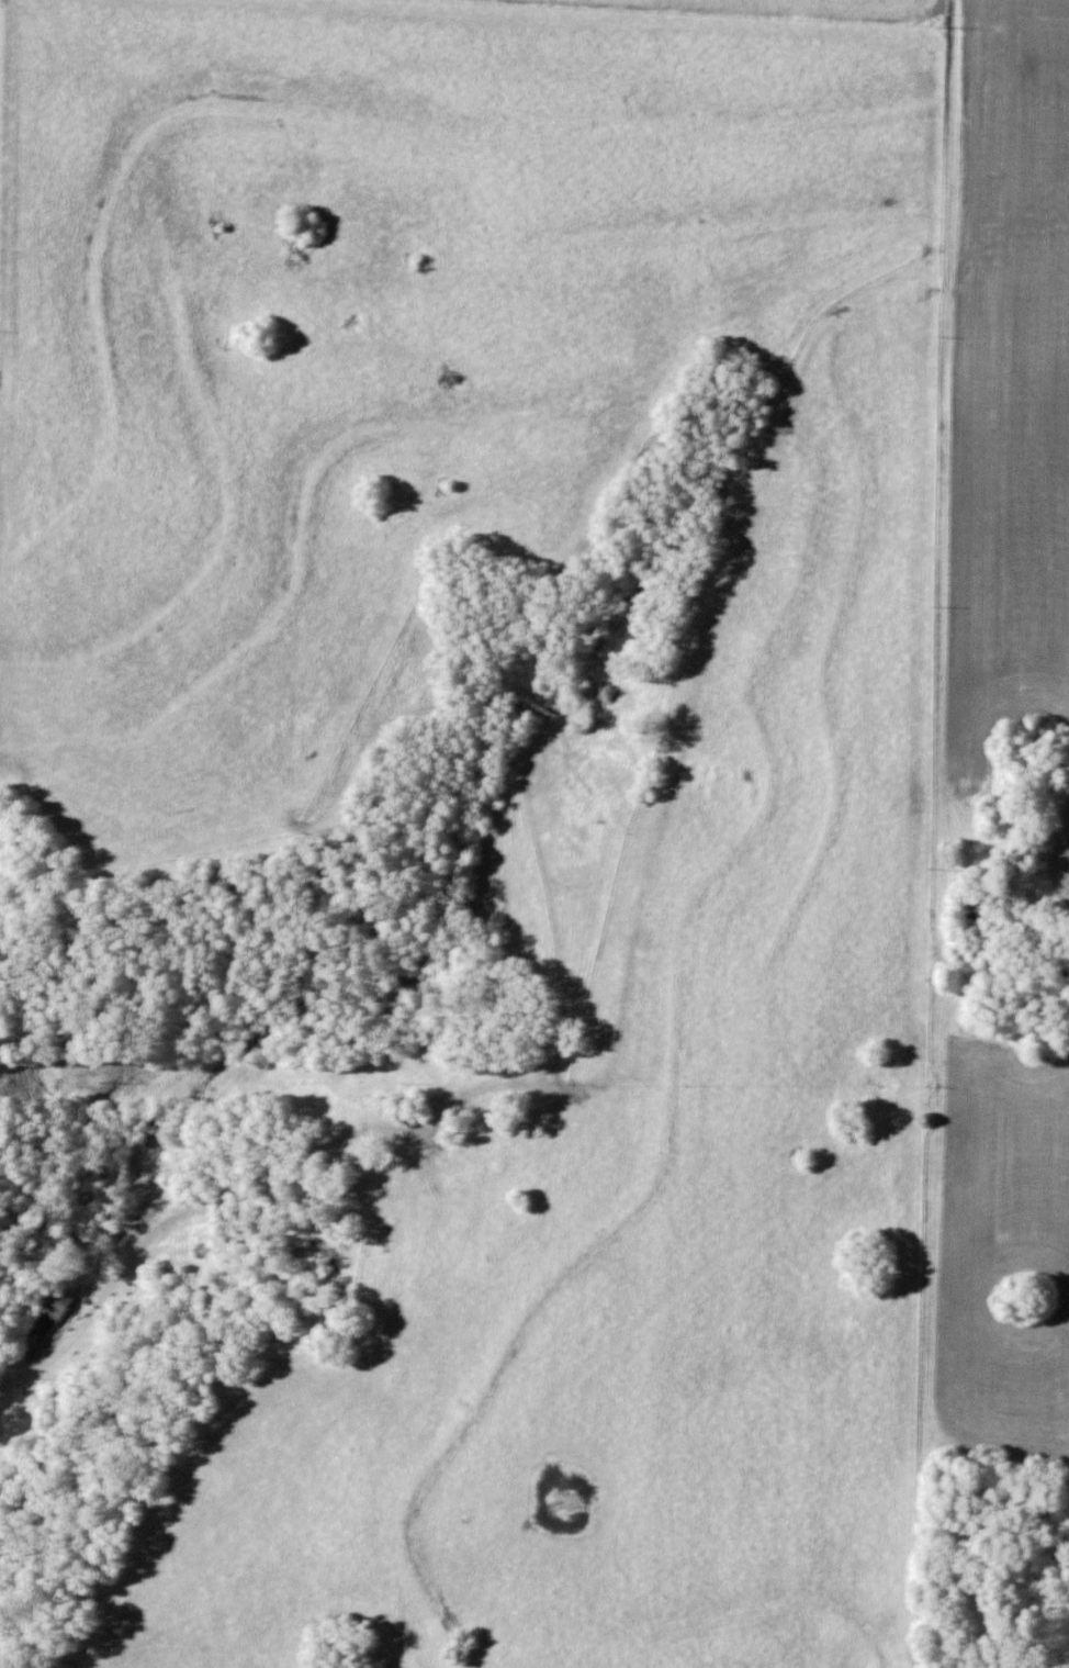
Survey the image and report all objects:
road: (970, 419)
road: (153, 1233)
building: (52, 1303)

